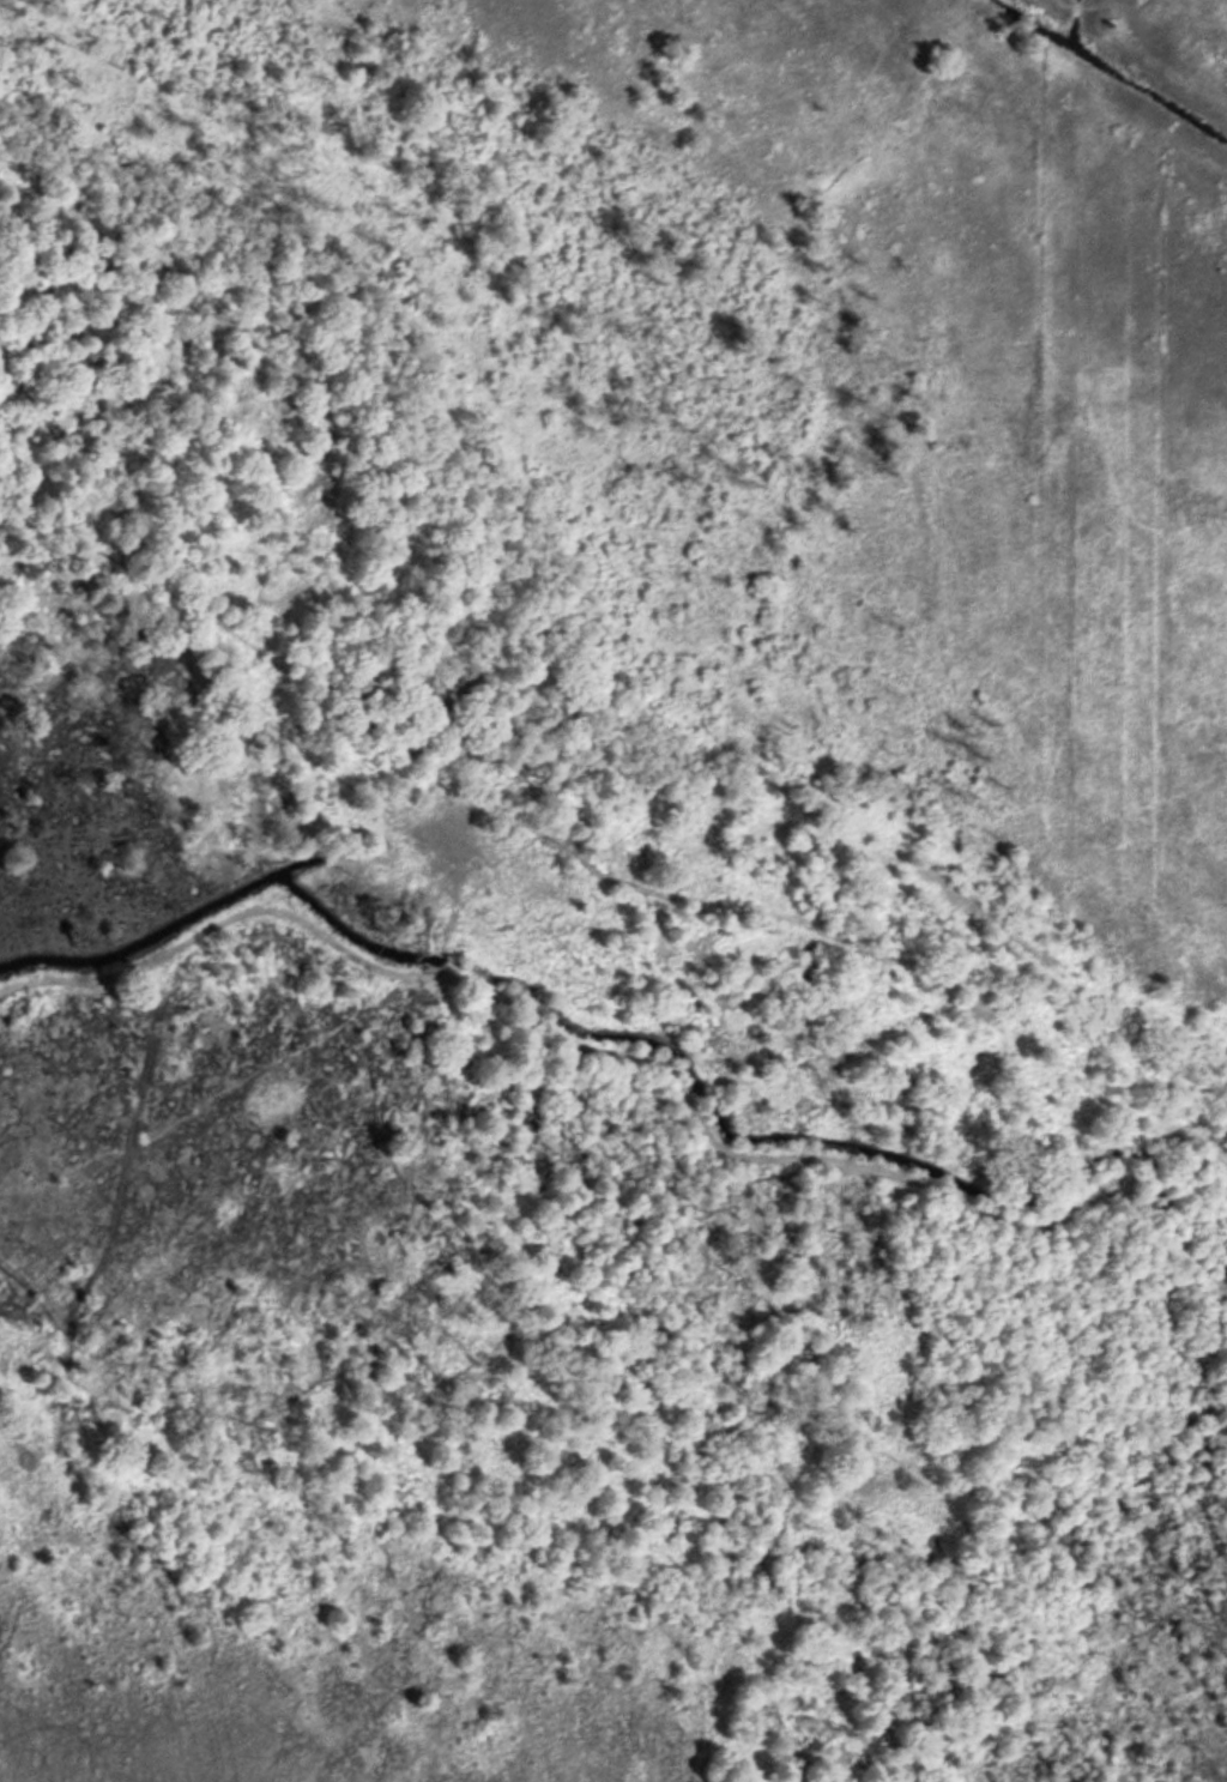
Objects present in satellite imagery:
road: (605, 1077)

